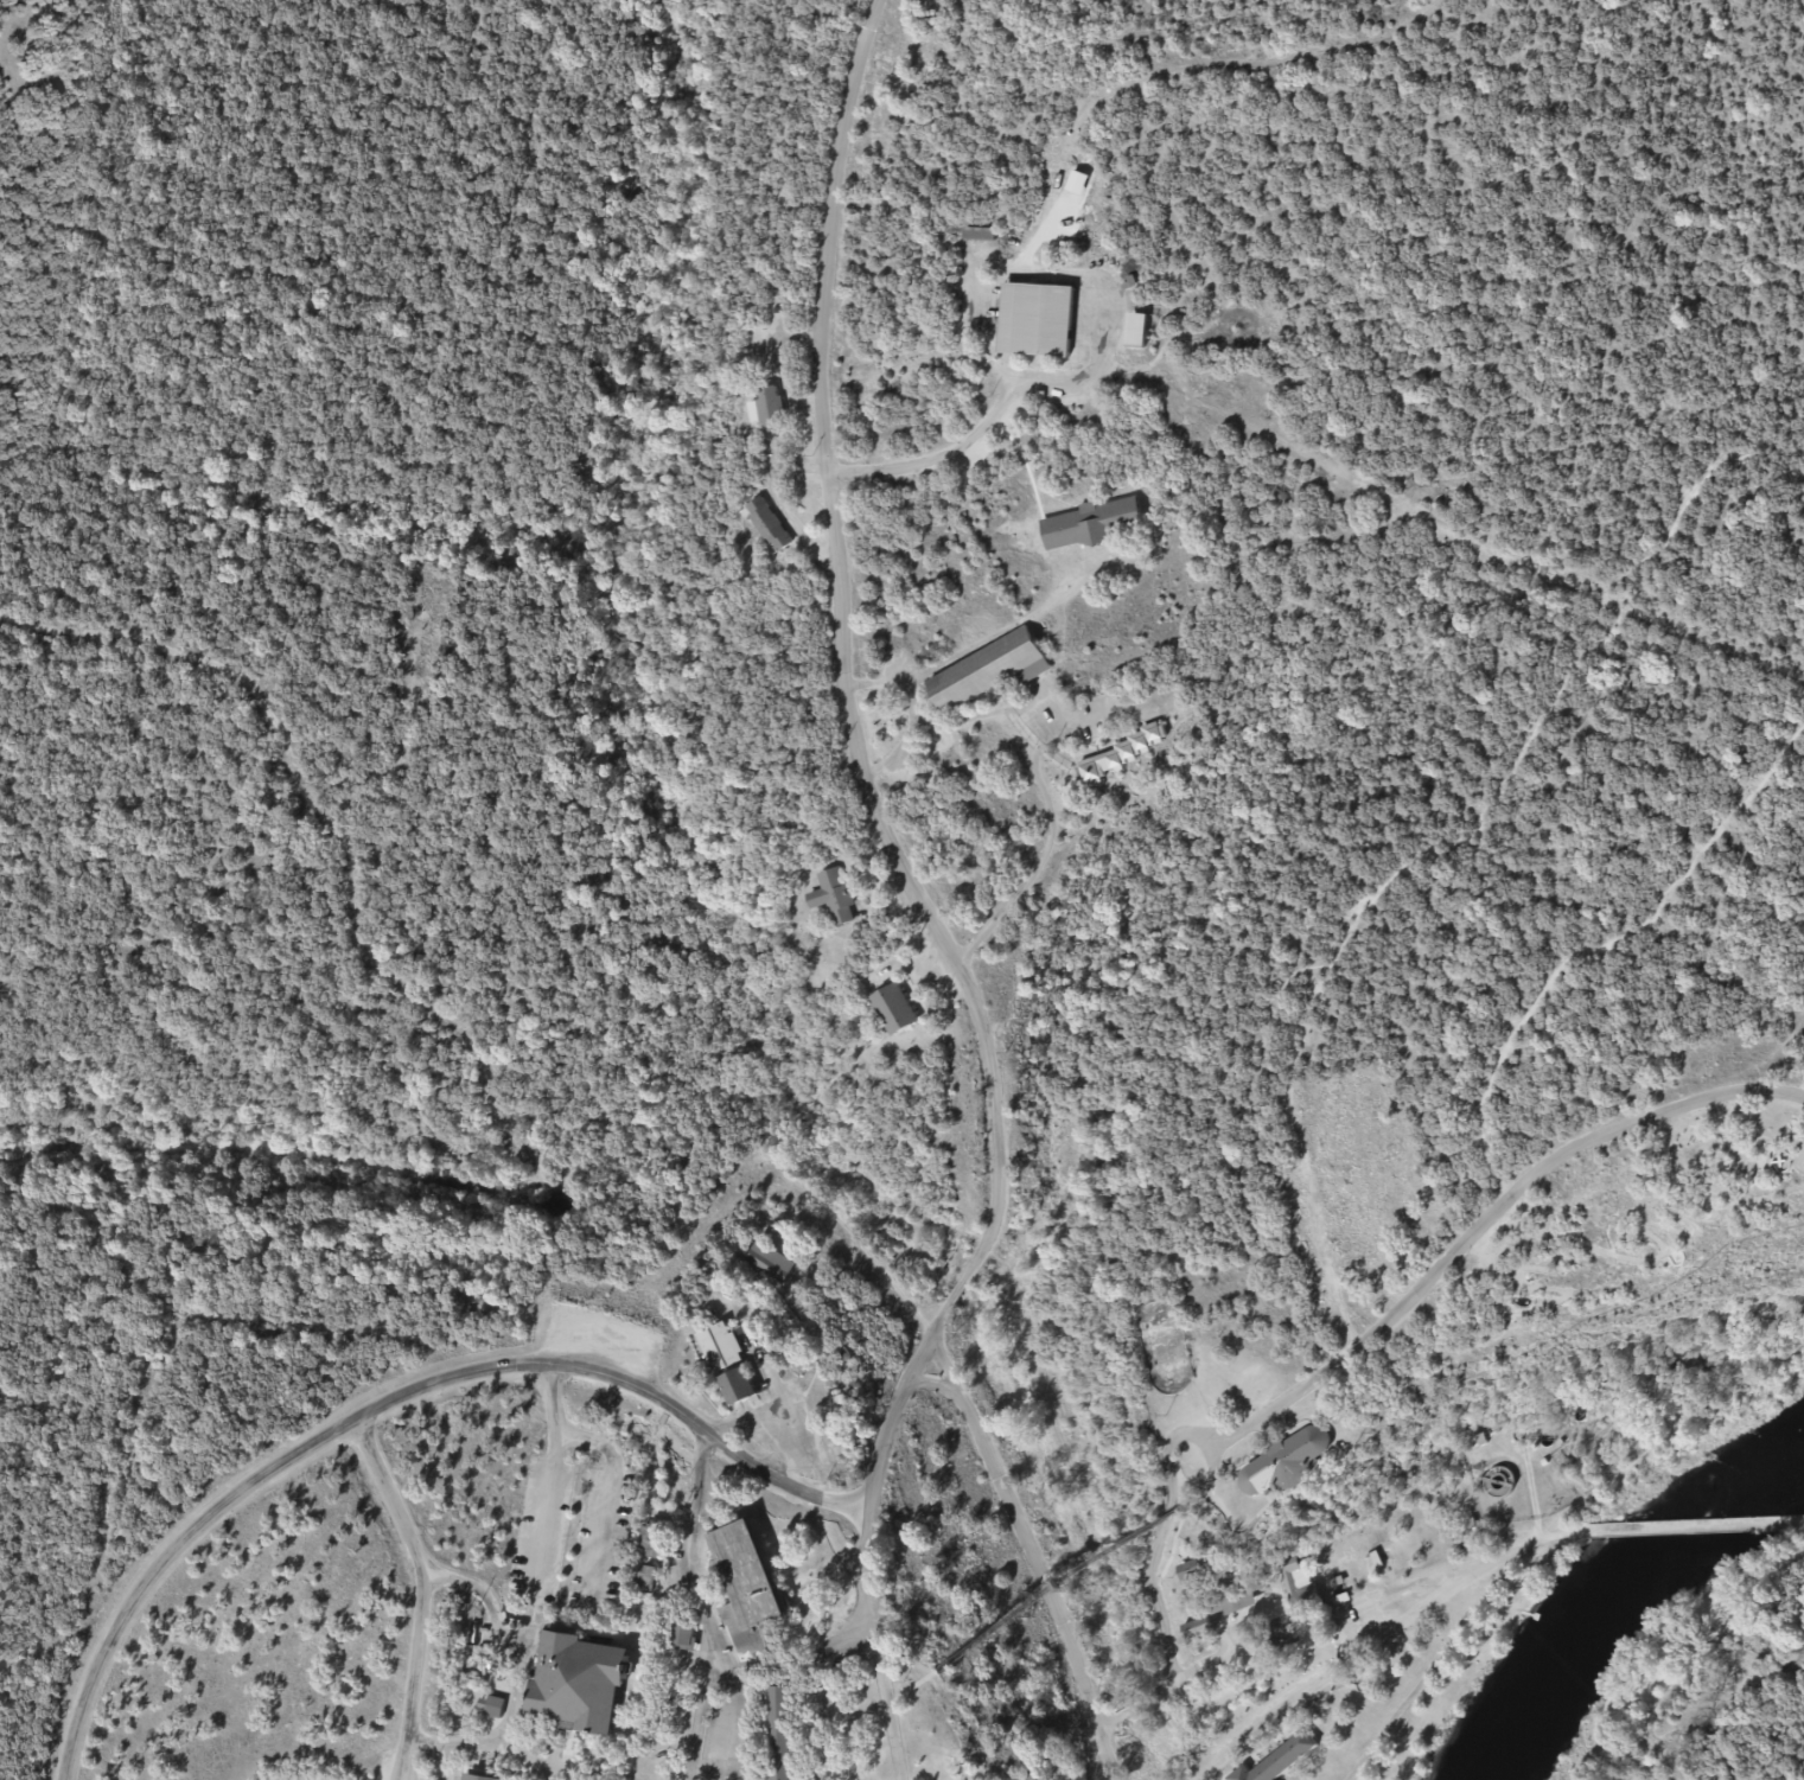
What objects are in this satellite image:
road: (1188, 64)
building: (1037, 321)
building: (1136, 331)
road: (891, 365)
building: (771, 410)
road: (937, 457)
building: (1091, 525)
building: (770, 527)
building: (988, 672)
road: (886, 830)
building: (834, 898)
building: (894, 1010)
building: (770, 1263)
road: (1383, 1319)
building: (720, 1348)
park: (1164, 1348)
building: (737, 1390)
road: (389, 1403)
building: (1286, 1466)
road: (613, 1469)
road: (547, 1505)
road: (1693, 1529)
road: (1030, 1538)
building: (652, 1540)
road: (1524, 1548)
building: (1190, 1571)
building: (645, 1581)
road: (1069, 1587)
building: (747, 1588)
building: (1298, 1589)
road: (425, 1593)
river: (1625, 1595)
building: (1242, 1600)
road: (702, 1601)
road: (1300, 1627)
building: (683, 1637)
road: (742, 1665)
road: (1330, 1673)
building: (580, 1683)
road: (912, 1691)
road: (886, 1698)
road: (636, 1727)
building: (779, 1733)
road: (432, 1740)
road: (498, 1740)
building: (1279, 1760)
building: (479, 1776)

